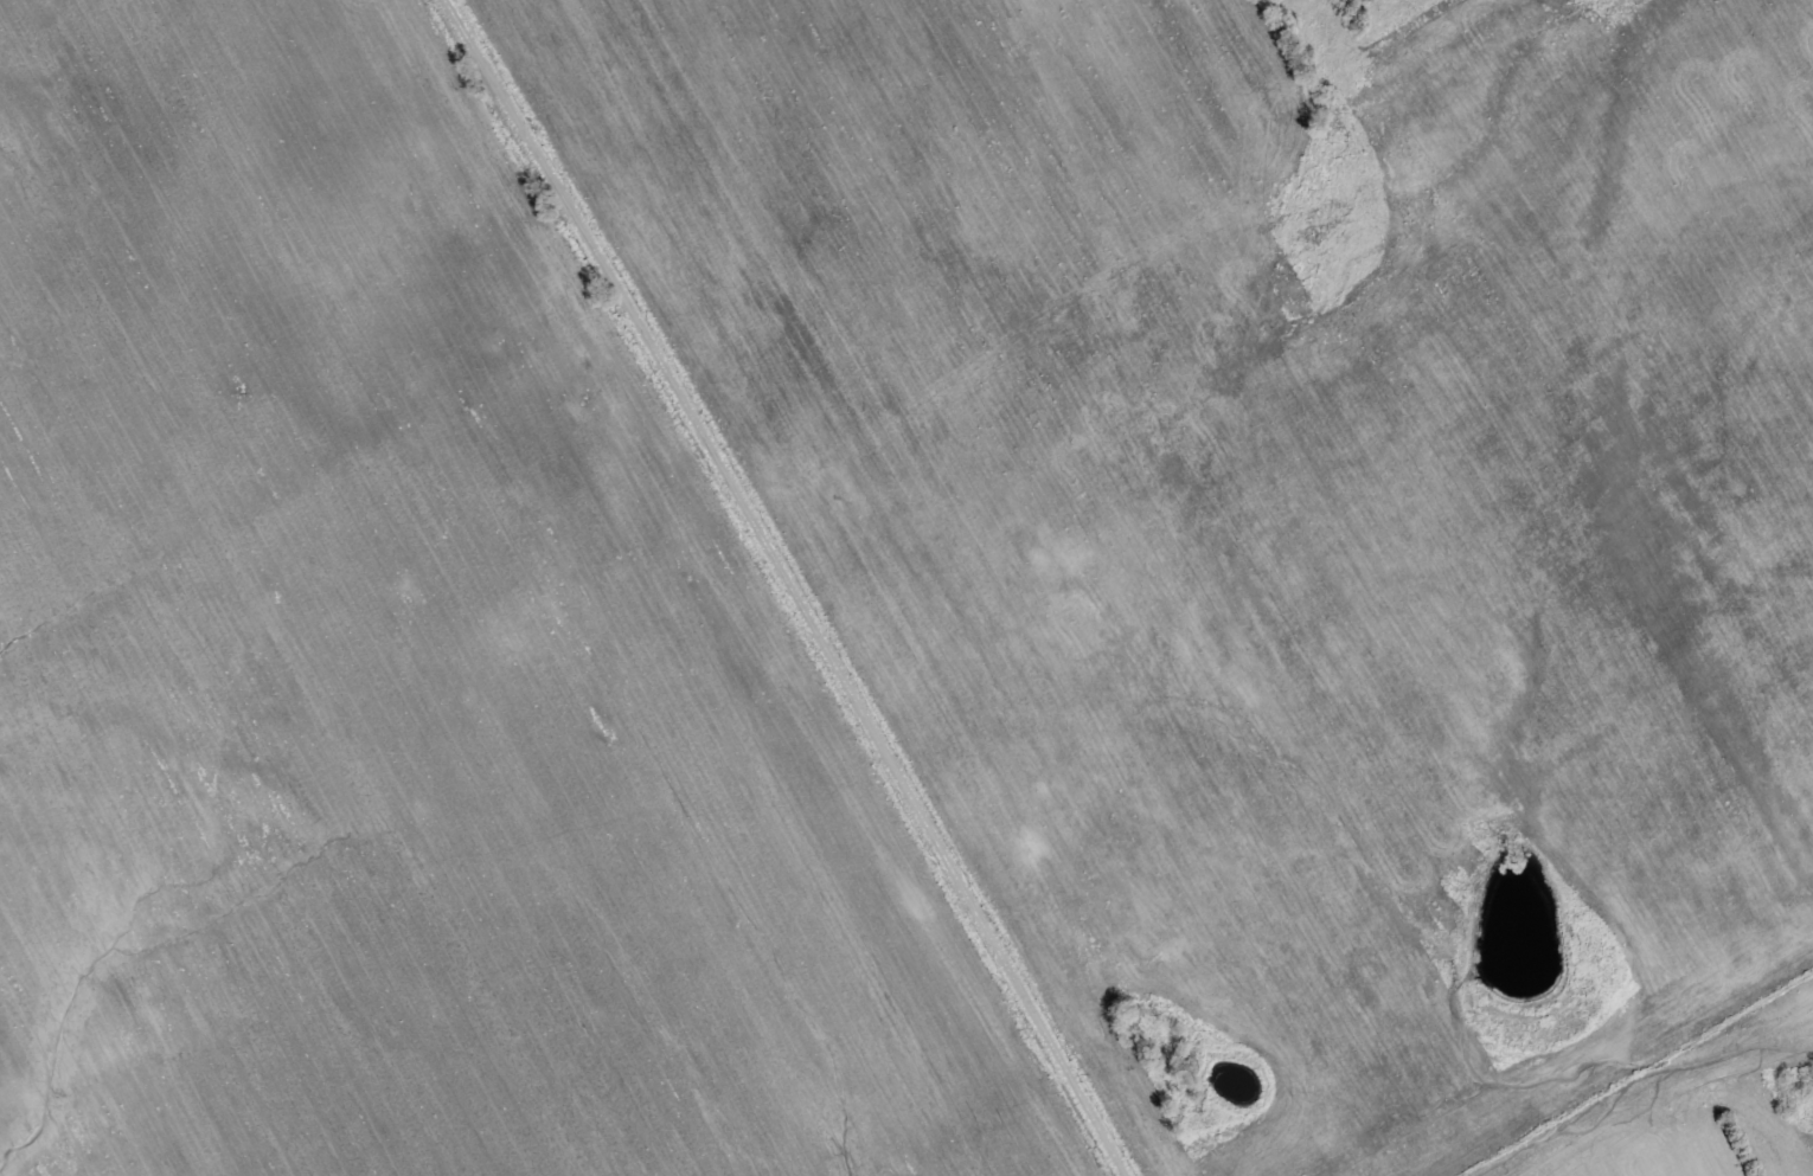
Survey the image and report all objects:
road: (790, 585)

